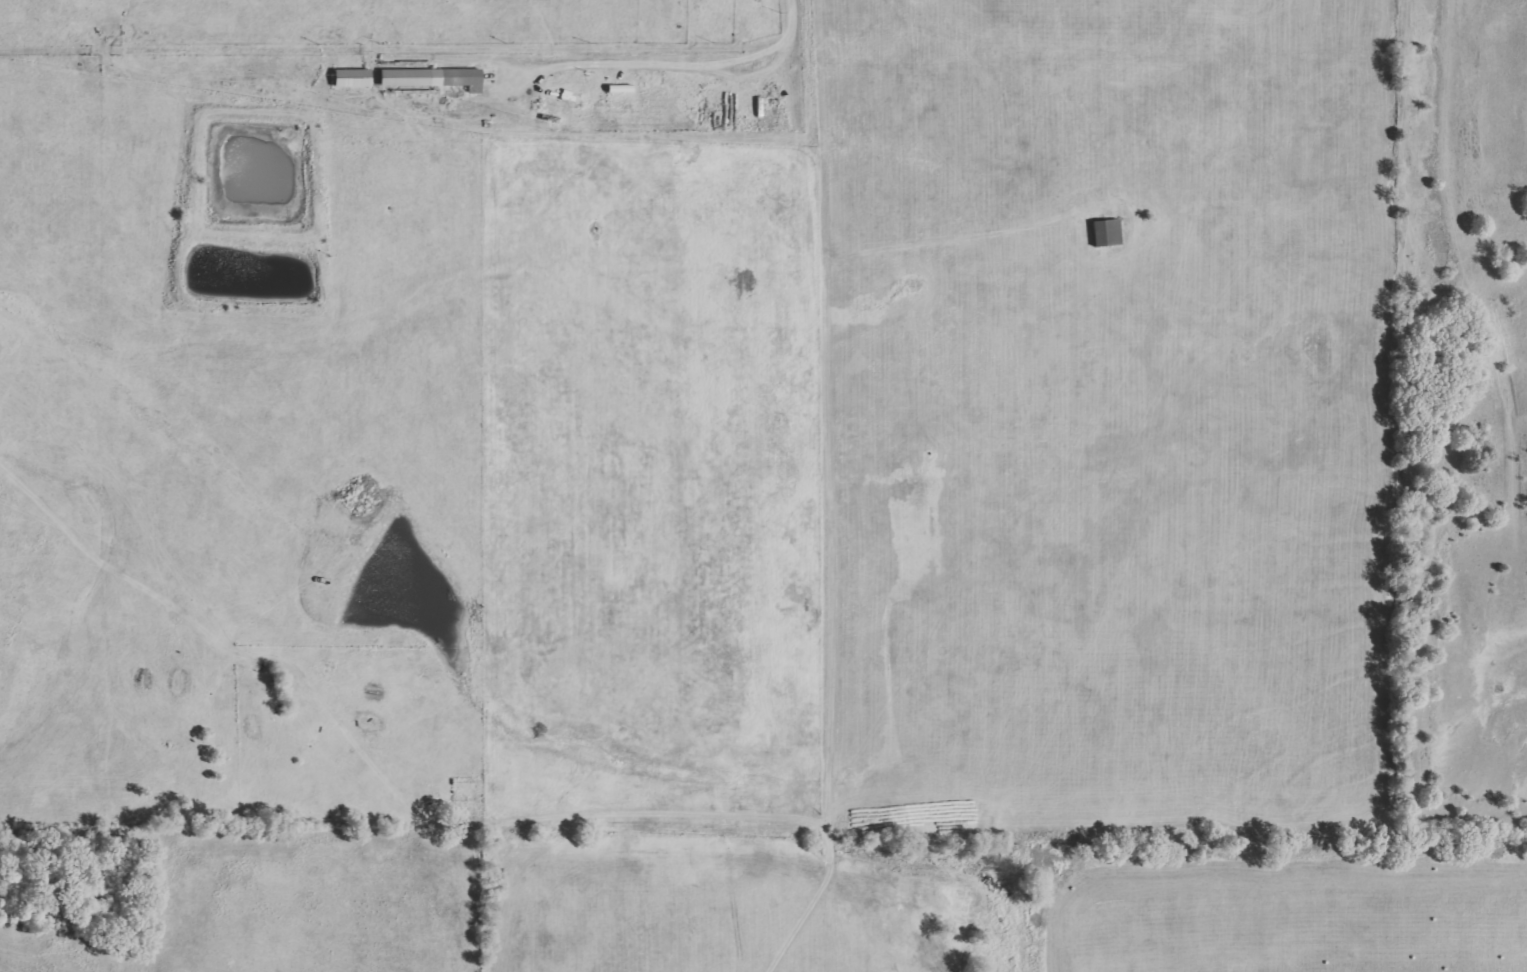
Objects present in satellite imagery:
road: (666, 60)
building: (428, 75)
building: (352, 77)
building: (1107, 232)

